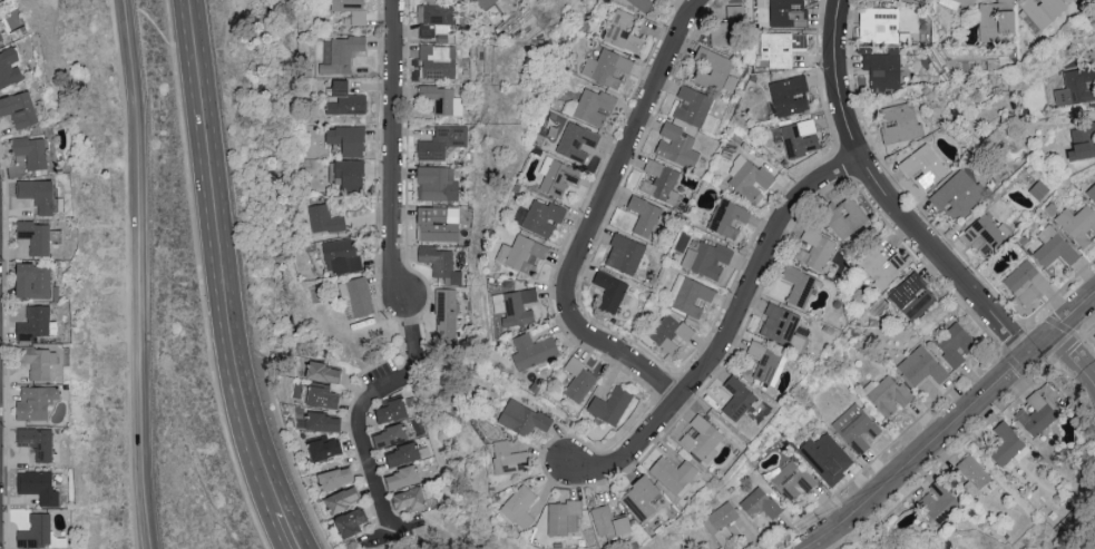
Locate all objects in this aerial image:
building: (659, 0)
building: (485, 2)
building: (642, 3)
building: (956, 3)
building: (352, 10)
building: (1043, 10)
building: (788, 12)
building: (996, 19)
building: (437, 21)
building: (879, 23)
building: (729, 27)
building: (624, 30)
building: (1, 37)
building: (781, 47)
building: (340, 53)
building: (438, 61)
building: (9, 67)
building: (607, 67)
building: (712, 68)
building: (883, 69)
building: (1076, 86)
building: (790, 95)
building: (345, 99)
building: (442, 99)
building: (590, 106)
building: (695, 108)
building: (19, 109)
building: (900, 121)
building: (800, 137)
building: (348, 139)
building: (577, 140)
building: (441, 141)
building: (1083, 141)
building: (676, 145)
building: (31, 150)
road: (624, 157)
building: (926, 165)
building: (349, 174)
building: (557, 176)
building: (749, 178)
building: (661, 182)
building: (438, 183)
building: (38, 193)
building: (1092, 193)
building: (958, 195)
road: (886, 197)
building: (539, 216)
building: (645, 216)
building: (729, 216)
building: (844, 217)
building: (324, 218)
building: (438, 223)
building: (1078, 224)
building: (35, 235)
building: (984, 235)
building: (1054, 247)
building: (815, 249)
building: (625, 253)
building: (341, 254)
building: (707, 257)
road: (216, 259)
building: (441, 263)
building: (883, 265)
road: (141, 274)
building: (32, 278)
road: (398, 282)
building: (1026, 282)
building: (799, 284)
building: (610, 290)
building: (690, 294)
building: (912, 295)
building: (356, 296)
building: (516, 305)
building: (446, 311)
road: (1037, 320)
building: (33, 322)
building: (780, 323)
building: (669, 331)
road: (729, 332)
road: (1076, 335)
building: (955, 342)
road: (1000, 349)
building: (532, 350)
road: (1072, 356)
road: (625, 360)
building: (39, 361)
building: (766, 362)
building: (922, 365)
building: (323, 371)
building: (579, 379)
building: (320, 395)
building: (737, 398)
building: (36, 401)
building: (610, 404)
building: (390, 410)
building: (1036, 414)
building: (522, 416)
building: (323, 421)
road: (951, 422)
building: (856, 428)
road: (977, 433)
building: (389, 434)
building: (702, 438)
building: (37, 441)
building: (1006, 442)
park: (205, 444)
building: (323, 447)
building: (401, 453)
road: (880, 453)
building: (827, 457)
building: (509, 458)
building: (674, 473)
building: (974, 473)
building: (401, 476)
building: (335, 477)
building: (790, 479)
building: (39, 486)
building: (641, 497)
building: (410, 498)
building: (342, 499)
building: (939, 500)
building: (760, 502)
building: (519, 506)
building: (563, 516)
building: (350, 521)
building: (609, 521)
building: (36, 530)
road: (287, 531)
road: (830, 540)

